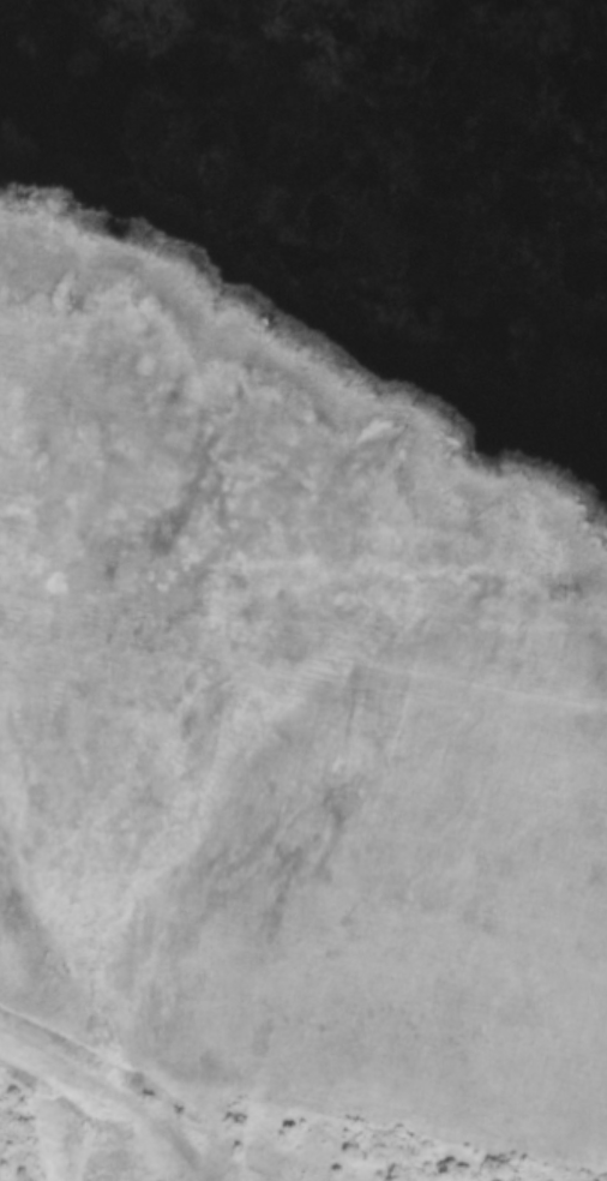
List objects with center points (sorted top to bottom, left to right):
road: (112, 1097)

